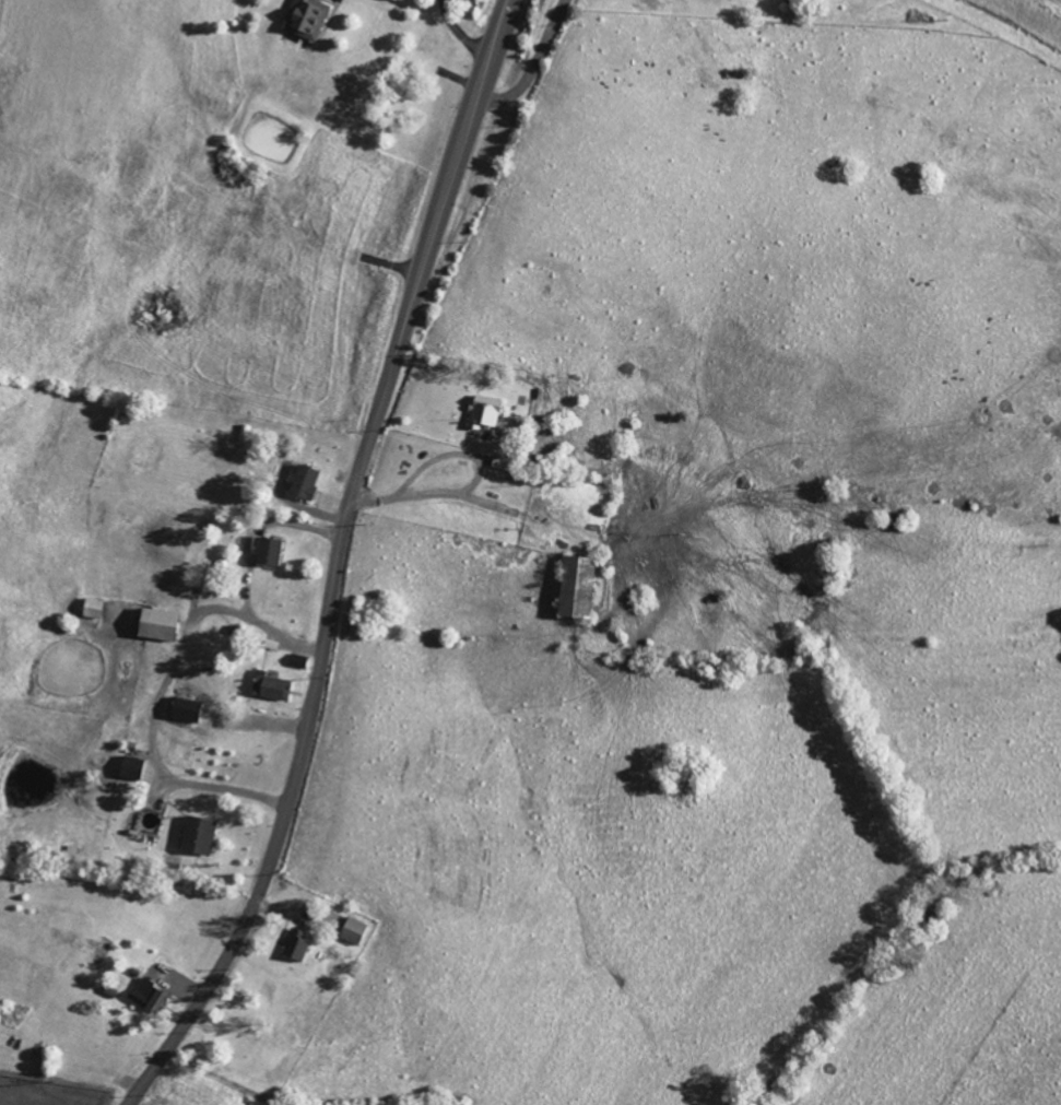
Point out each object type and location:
building: (304, 17)
building: (483, 410)
building: (302, 482)
road: (464, 493)
road: (259, 525)
building: (267, 551)
road: (339, 563)
building: (571, 587)
building: (91, 608)
building: (154, 624)
building: (269, 687)
road: (162, 690)
building: (184, 709)
building: (130, 763)
building: (197, 833)
building: (354, 930)
building: (296, 945)
building: (146, 994)
power substation: (48, 1091)

